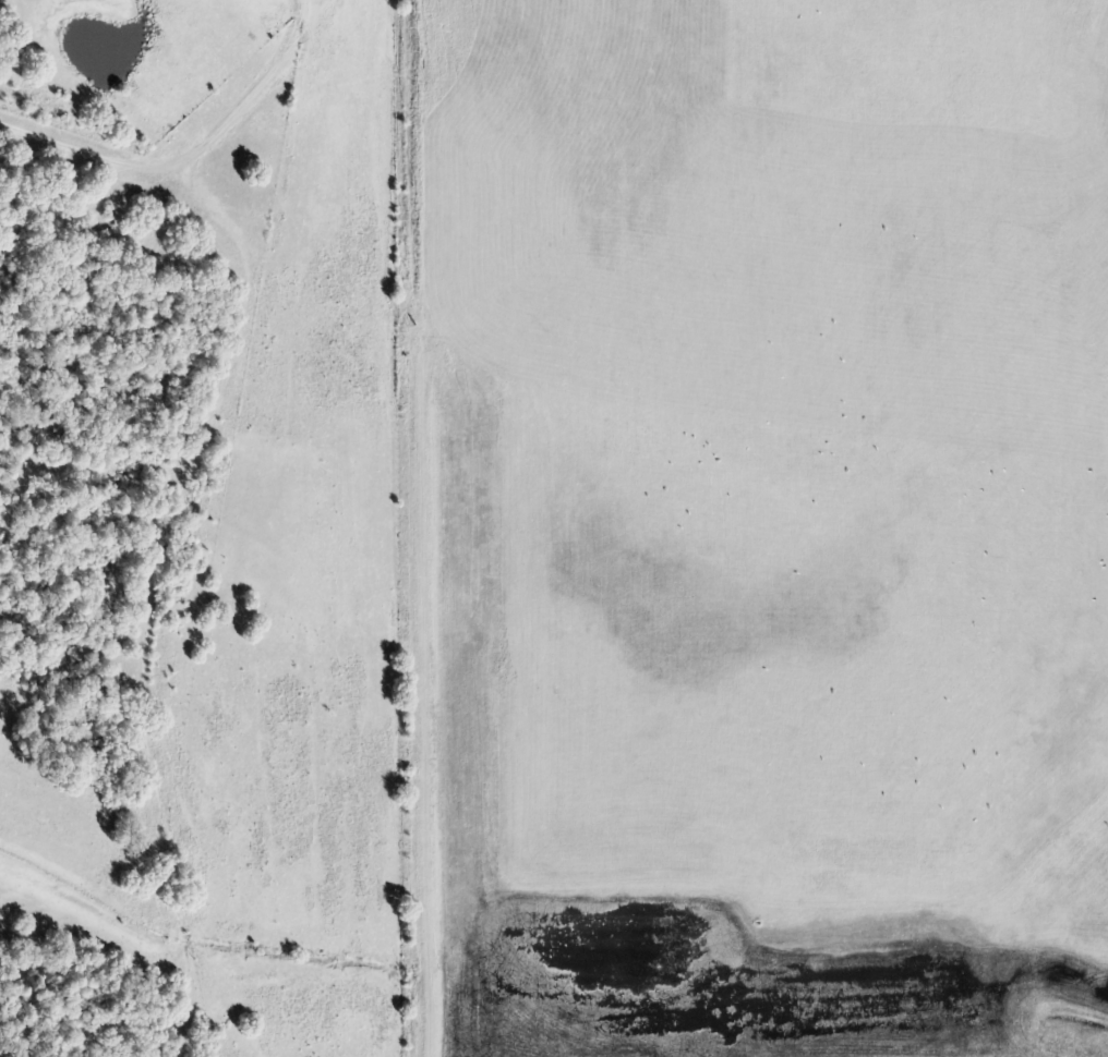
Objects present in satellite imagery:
road: (188, 154)

